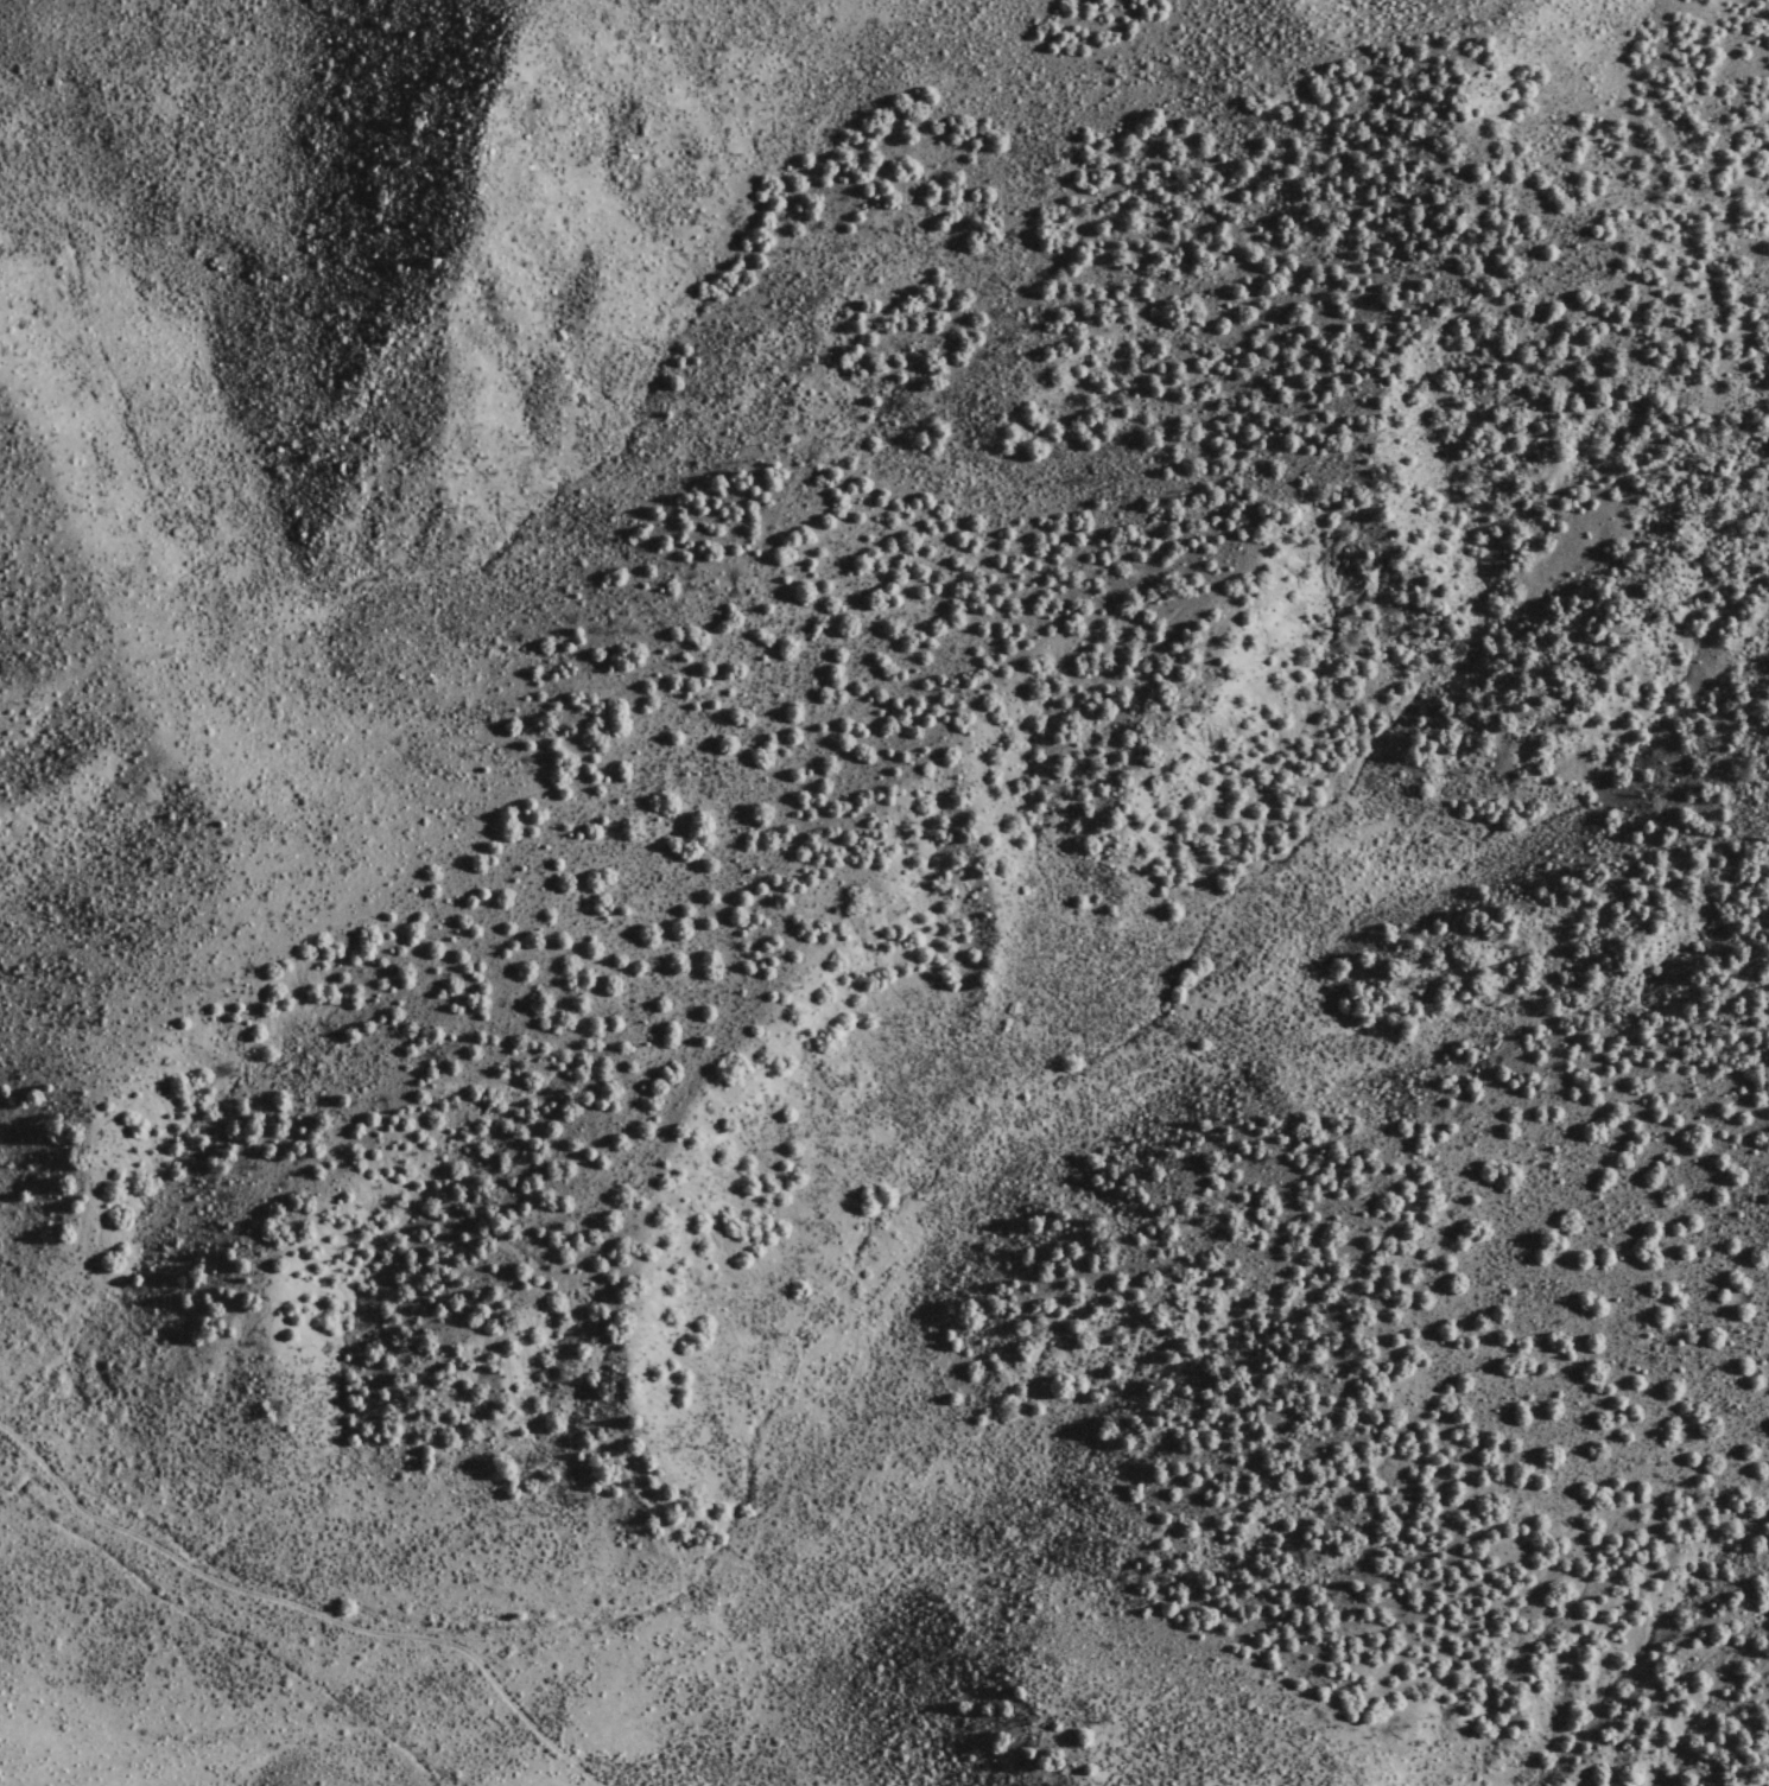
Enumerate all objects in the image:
road: (297, 1613)
crop: (204, 1680)

